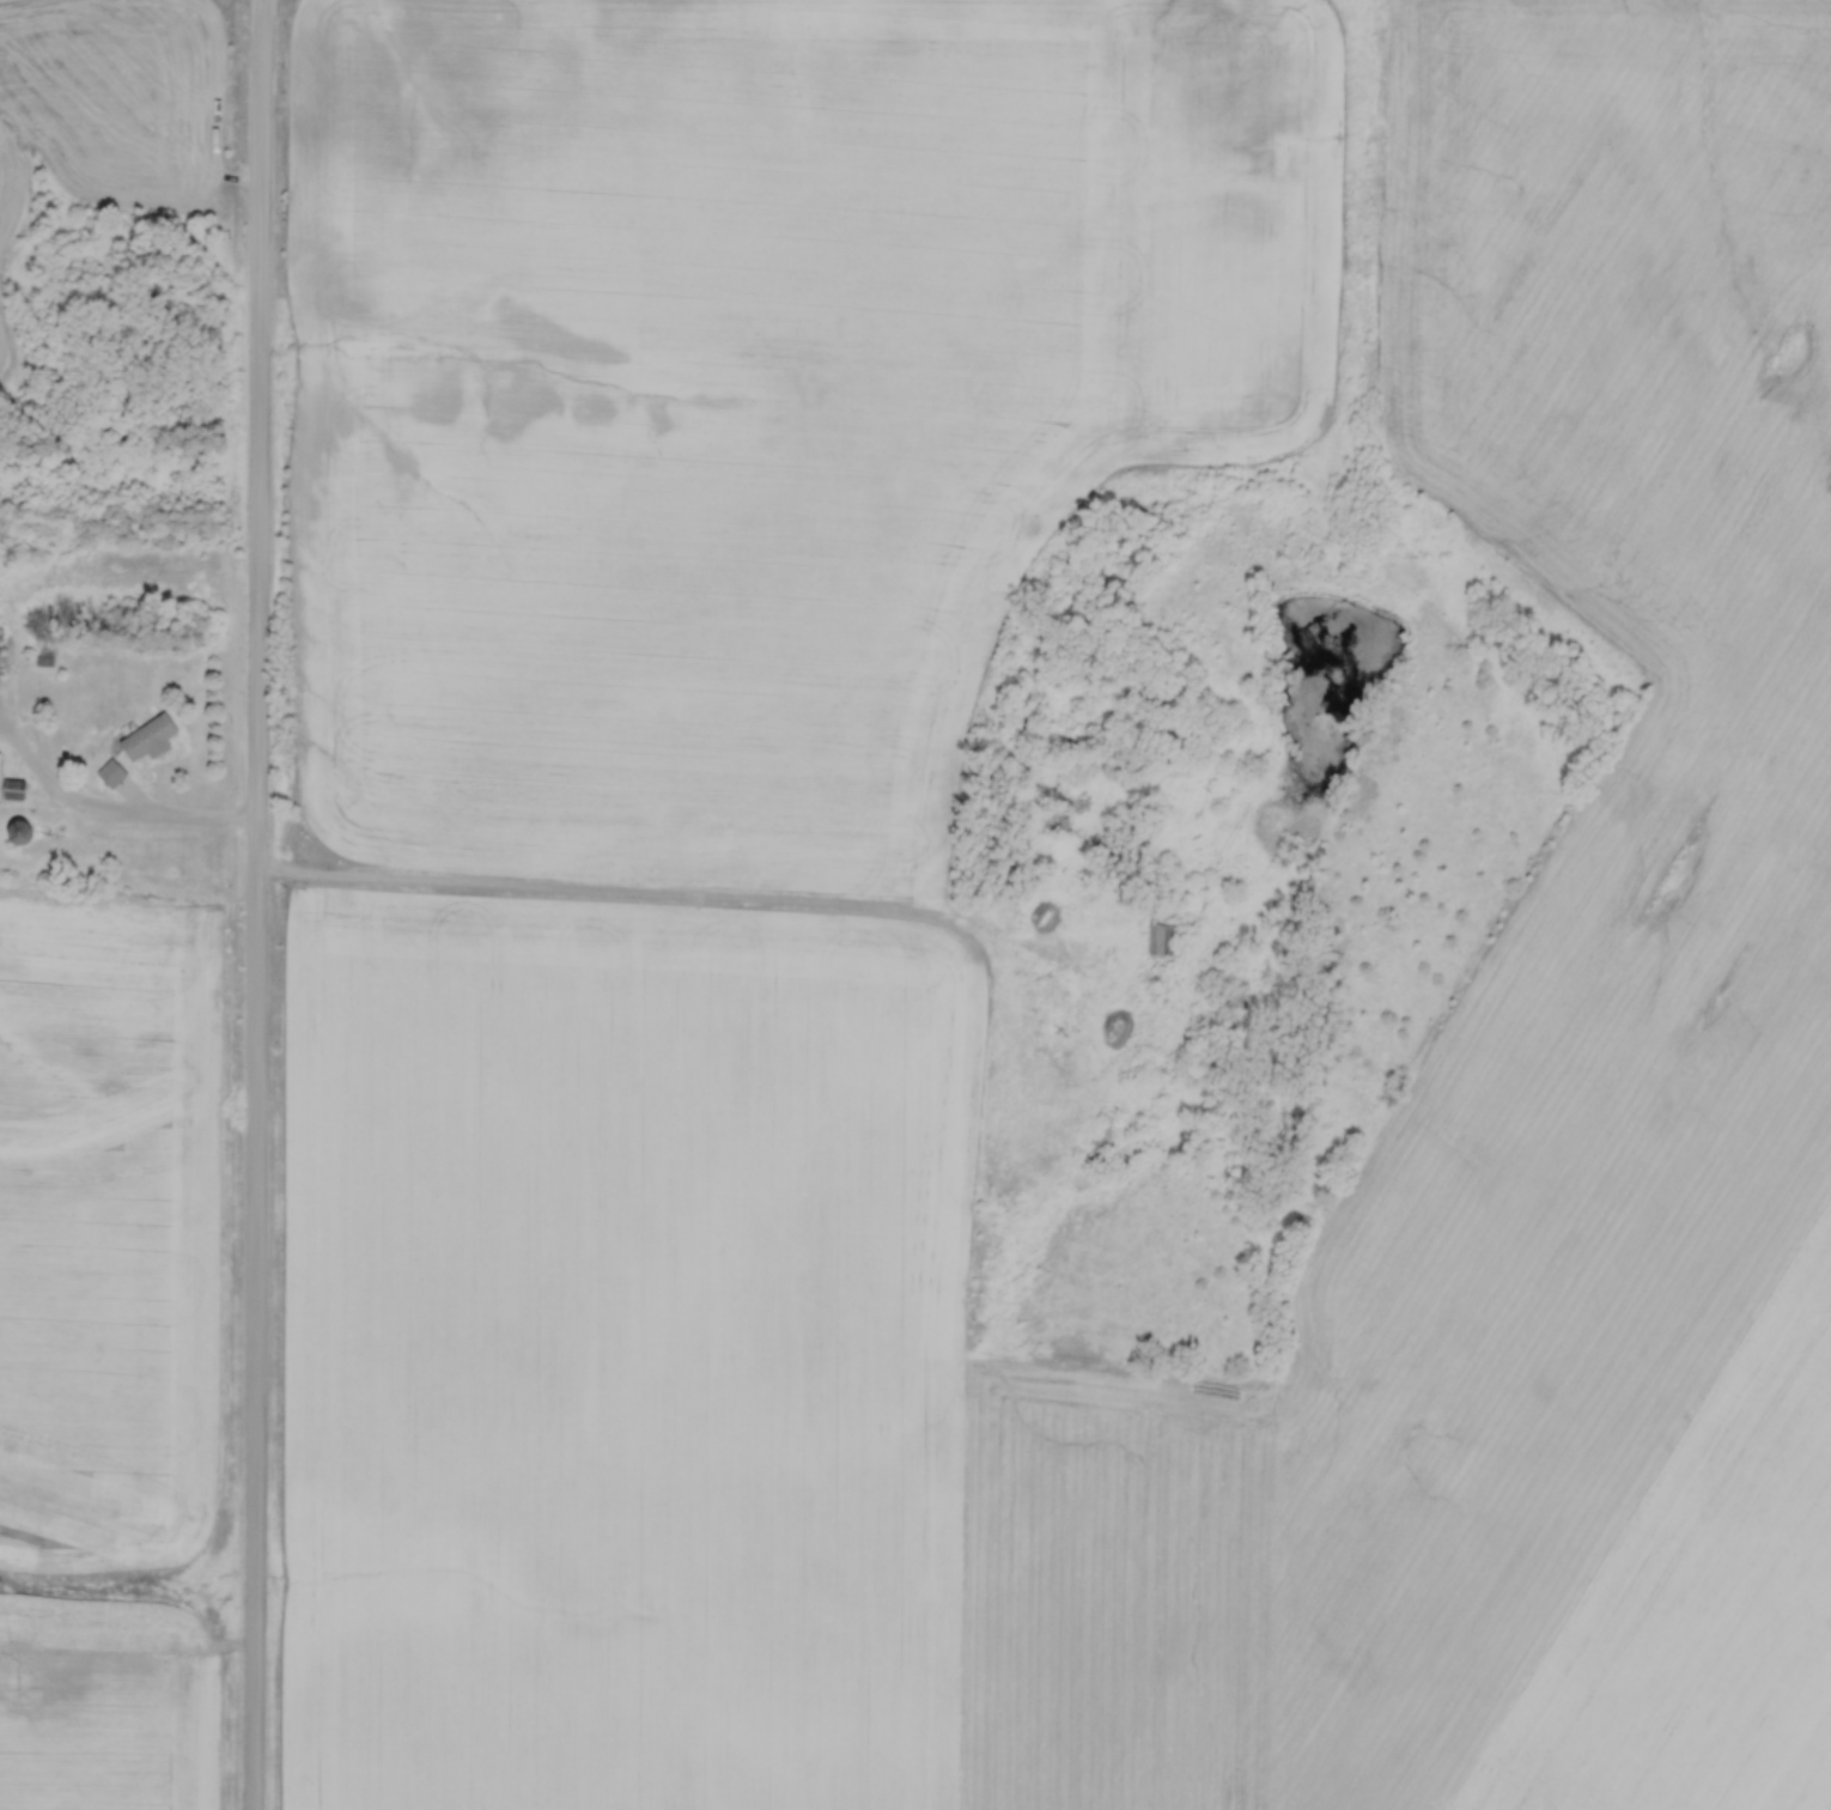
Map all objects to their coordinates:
building: (0, 661)
building: (139, 747)
building: (0, 775)
building: (16, 790)
road: (115, 813)
building: (1056, 813)
road: (264, 905)
building: (1160, 937)

